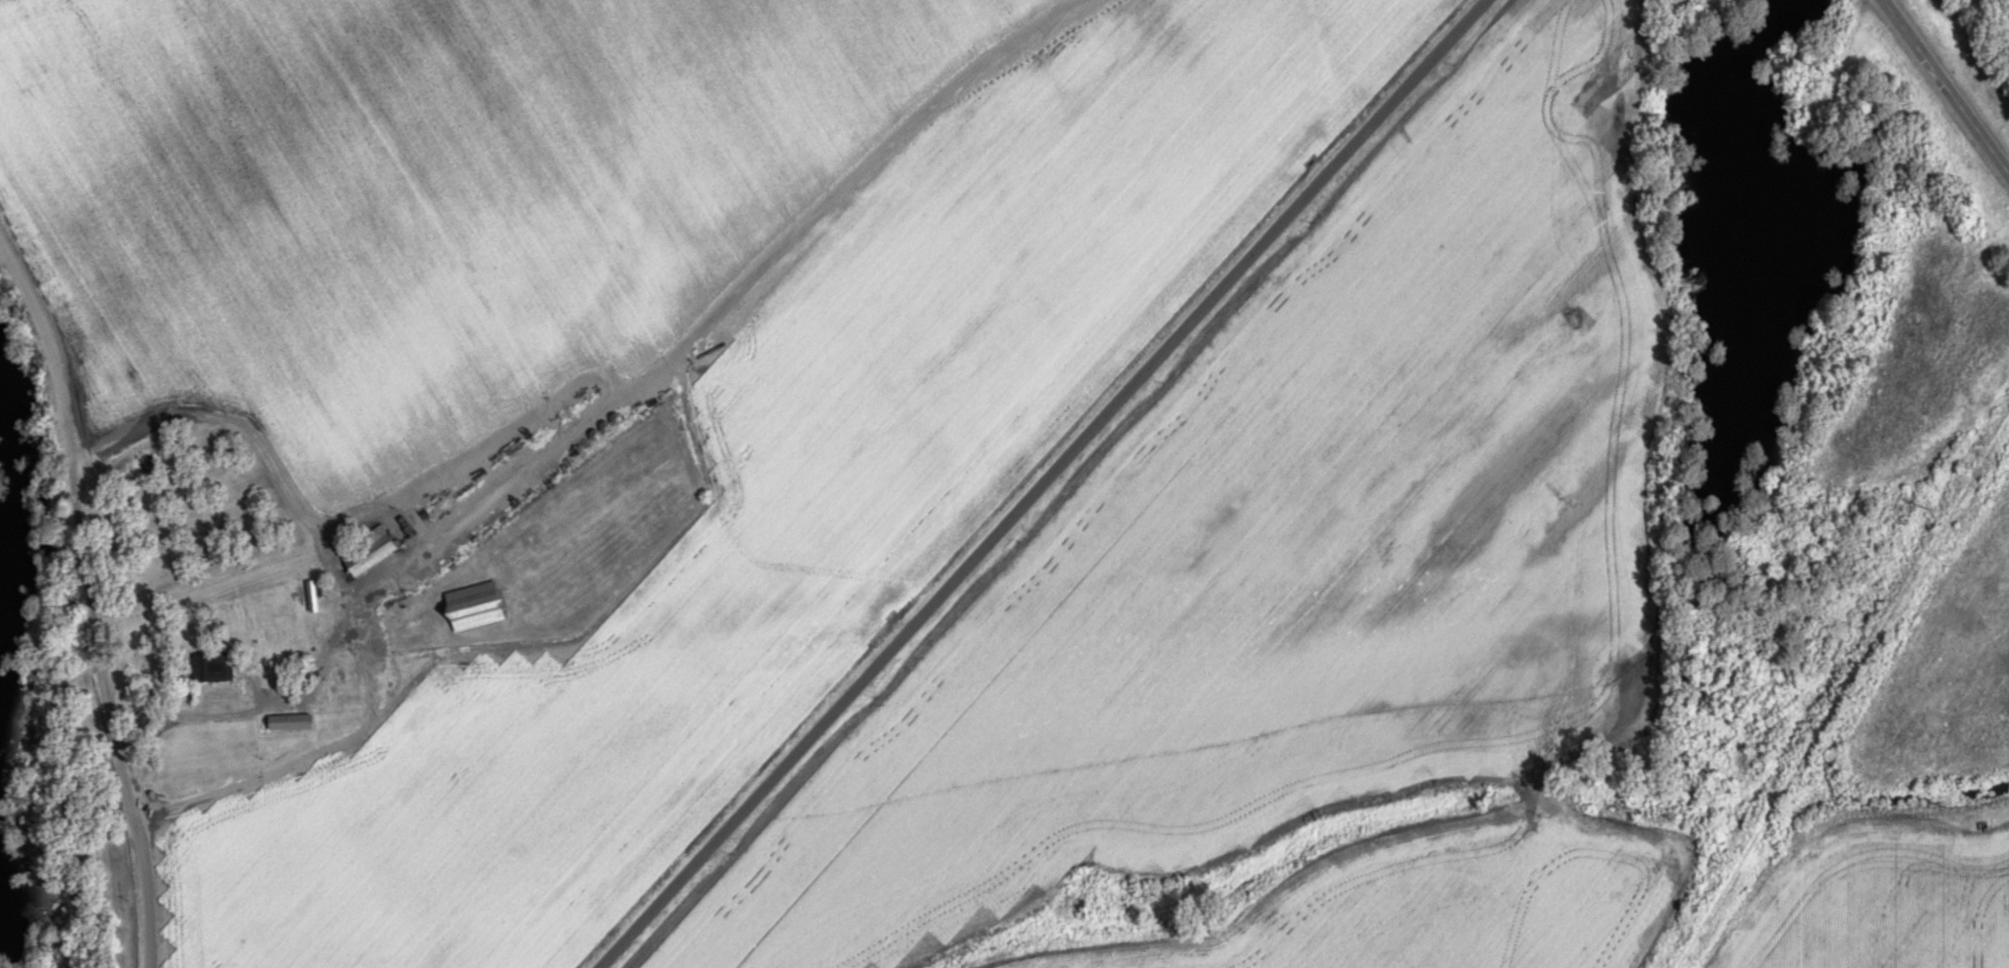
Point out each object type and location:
road: (1946, 85)
road: (611, 395)
road: (1040, 482)
building: (444, 502)
power tower: (1930, 507)
building: (369, 550)
road: (88, 602)
building: (476, 606)
road: (478, 658)
building: (210, 667)
road: (297, 680)
railway: (1841, 692)
building: (291, 722)
road: (1481, 817)
power tower: (1718, 860)

